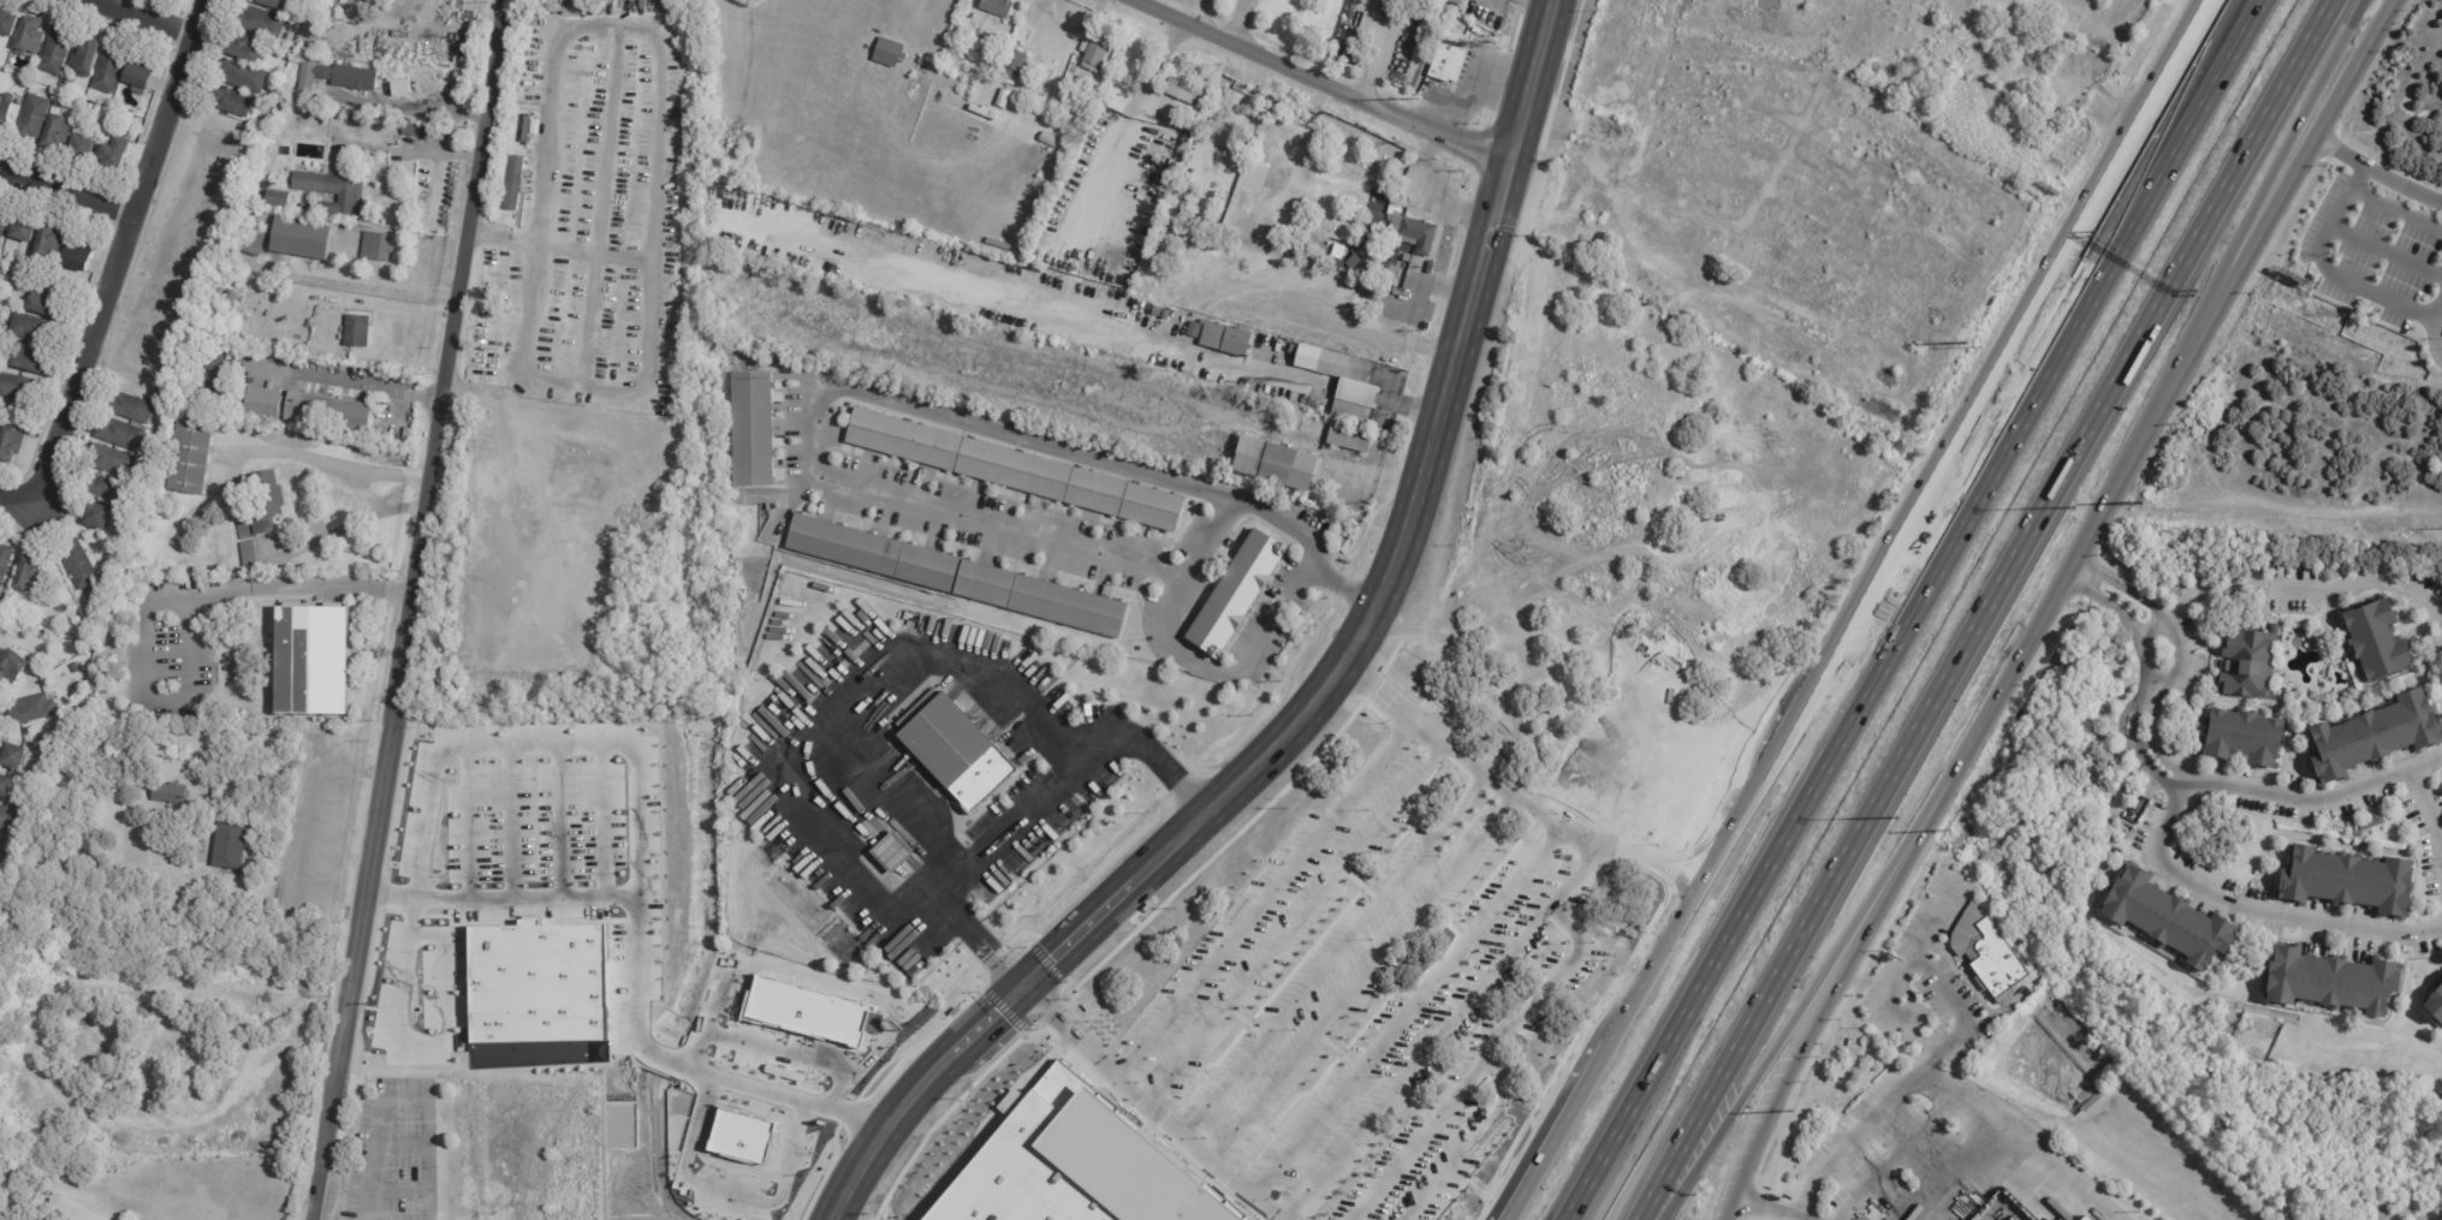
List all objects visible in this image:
building: (1451, 2)
road: (2259, 2)
building: (285, 4)
road: (1534, 5)
building: (997, 6)
road: (1042, 8)
building: (326, 14)
building: (970, 16)
road: (138, 18)
building: (265, 20)
building: (8, 22)
building: (355, 22)
road: (1237, 23)
building: (31, 36)
building: (58, 49)
building: (252, 49)
building: (1097, 49)
building: (290, 52)
building: (887, 53)
road: (1378, 54)
building: (89, 56)
building: (1451, 58)
building: (923, 61)
building: (1014, 63)
road: (1479, 67)
building: (113, 69)
building: (142, 73)
building: (248, 75)
building: (1083, 76)
building: (338, 77)
building: (70, 82)
building: (1008, 83)
building: (403, 87)
building: (1177, 91)
road: (1501, 94)
power tower: (1415, 95)
building: (999, 96)
building: (237, 101)
road: (1443, 101)
building: (6, 109)
building: (35, 118)
building: (411, 129)
building: (60, 131)
building: (1045, 138)
building: (1183, 141)
building: (87, 147)
road: (658, 147)
building: (117, 151)
road: (2377, 171)
building: (1167, 173)
road: (2289, 178)
building: (513, 185)
building: (335, 191)
road: (1586, 192)
road: (65, 194)
building: (284, 198)
road: (1425, 202)
road: (2395, 206)
building: (308, 207)
road: (601, 208)
building: (1377, 214)
building: (2, 225)
building: (26, 228)
building: (352, 233)
building: (1414, 233)
road: (1493, 233)
building: (303, 238)
building: (250, 239)
building: (50, 240)
building: (902, 242)
building: (915, 244)
building: (380, 246)
road: (2384, 250)
road: (594, 251)
building: (79, 254)
parking lot: (2366, 254)
building: (1338, 263)
building: (1354, 263)
road: (113, 267)
building: (17, 270)
road: (2323, 270)
building: (233, 297)
building: (48, 302)
road: (1070, 308)
building: (216, 316)
road: (2431, 326)
building: (34, 327)
building: (360, 331)
power tower: (1966, 341)
building: (1223, 343)
building: (31, 358)
building: (218, 362)
building: (1341, 381)
road: (343, 383)
building: (218, 385)
building: (18, 386)
road: (843, 386)
road: (1357, 393)
road: (487, 398)
building: (266, 405)
building: (135, 407)
road: (1416, 409)
building: (333, 411)
building: (1, 416)
building: (1378, 418)
building: (751, 429)
building: (125, 435)
building: (1348, 439)
building: (13, 444)
building: (153, 451)
building: (195, 457)
building: (115, 460)
road: (327, 464)
building: (1275, 464)
road: (1936, 468)
building: (1012, 469)
building: (112, 489)
road: (363, 494)
power tower: (2140, 501)
building: (268, 507)
road: (399, 507)
building: (106, 517)
road: (329, 532)
building: (871, 553)
building: (252, 558)
building: (6, 564)
building: (83, 564)
building: (219, 570)
building: (31, 575)
road: (2366, 584)
building: (1234, 594)
building: (1040, 599)
road: (160, 601)
building: (4, 602)
road: (397, 608)
road: (1913, 609)
road: (1983, 609)
road: (2150, 621)
road: (2175, 632)
building: (2378, 642)
road: (2143, 655)
building: (315, 661)
building: (2248, 665)
building: (14, 667)
road: (1229, 673)
railway: (1337, 682)
road: (2158, 684)
building: (35, 710)
road: (840, 713)
road: (524, 730)
building: (2376, 738)
building: (2245, 739)
building: (955, 750)
road: (1266, 756)
building: (20, 757)
road: (2177, 764)
road: (2162, 782)
road: (1948, 785)
building: (8, 786)
building: (172, 793)
road: (2321, 798)
road: (606, 804)
road: (518, 805)
road: (569, 805)
road: (477, 807)
road: (2430, 807)
road: (1026, 814)
building: (7, 819)
building: (2371, 825)
road: (1582, 828)
power tower: (1950, 829)
building: (234, 847)
road: (1694, 850)
building: (890, 855)
road: (1675, 865)
road: (1579, 870)
building: (2349, 883)
road: (1264, 894)
road: (2247, 909)
road: (1294, 917)
building: (2169, 922)
road: (1332, 948)
road: (1835, 948)
building: (1996, 960)
building: (537, 970)
road: (1354, 980)
parking lot: (1379, 980)
road: (1943, 982)
building: (2333, 984)
road: (1895, 988)
road: (1408, 1006)
building: (2435, 1007)
road: (1485, 1047)
road: (702, 1057)
road: (1418, 1059)
road: (1584, 1077)
road: (399, 1097)
road: (926, 1100)
power tower: (1794, 1111)
road: (1854, 1135)
road: (2020, 1136)
road: (1472, 1137)
parking lot: (397, 1153)
parking lot: (1873, 1153)
road: (1895, 1155)
building: (1079, 1162)
road: (1947, 1170)
road: (1244, 1186)
building: (2006, 1207)
road: (1767, 1209)
road: (94, 1215)
building: (2089, 1218)
road: (1804, 1219)
building: (2082, 1219)

